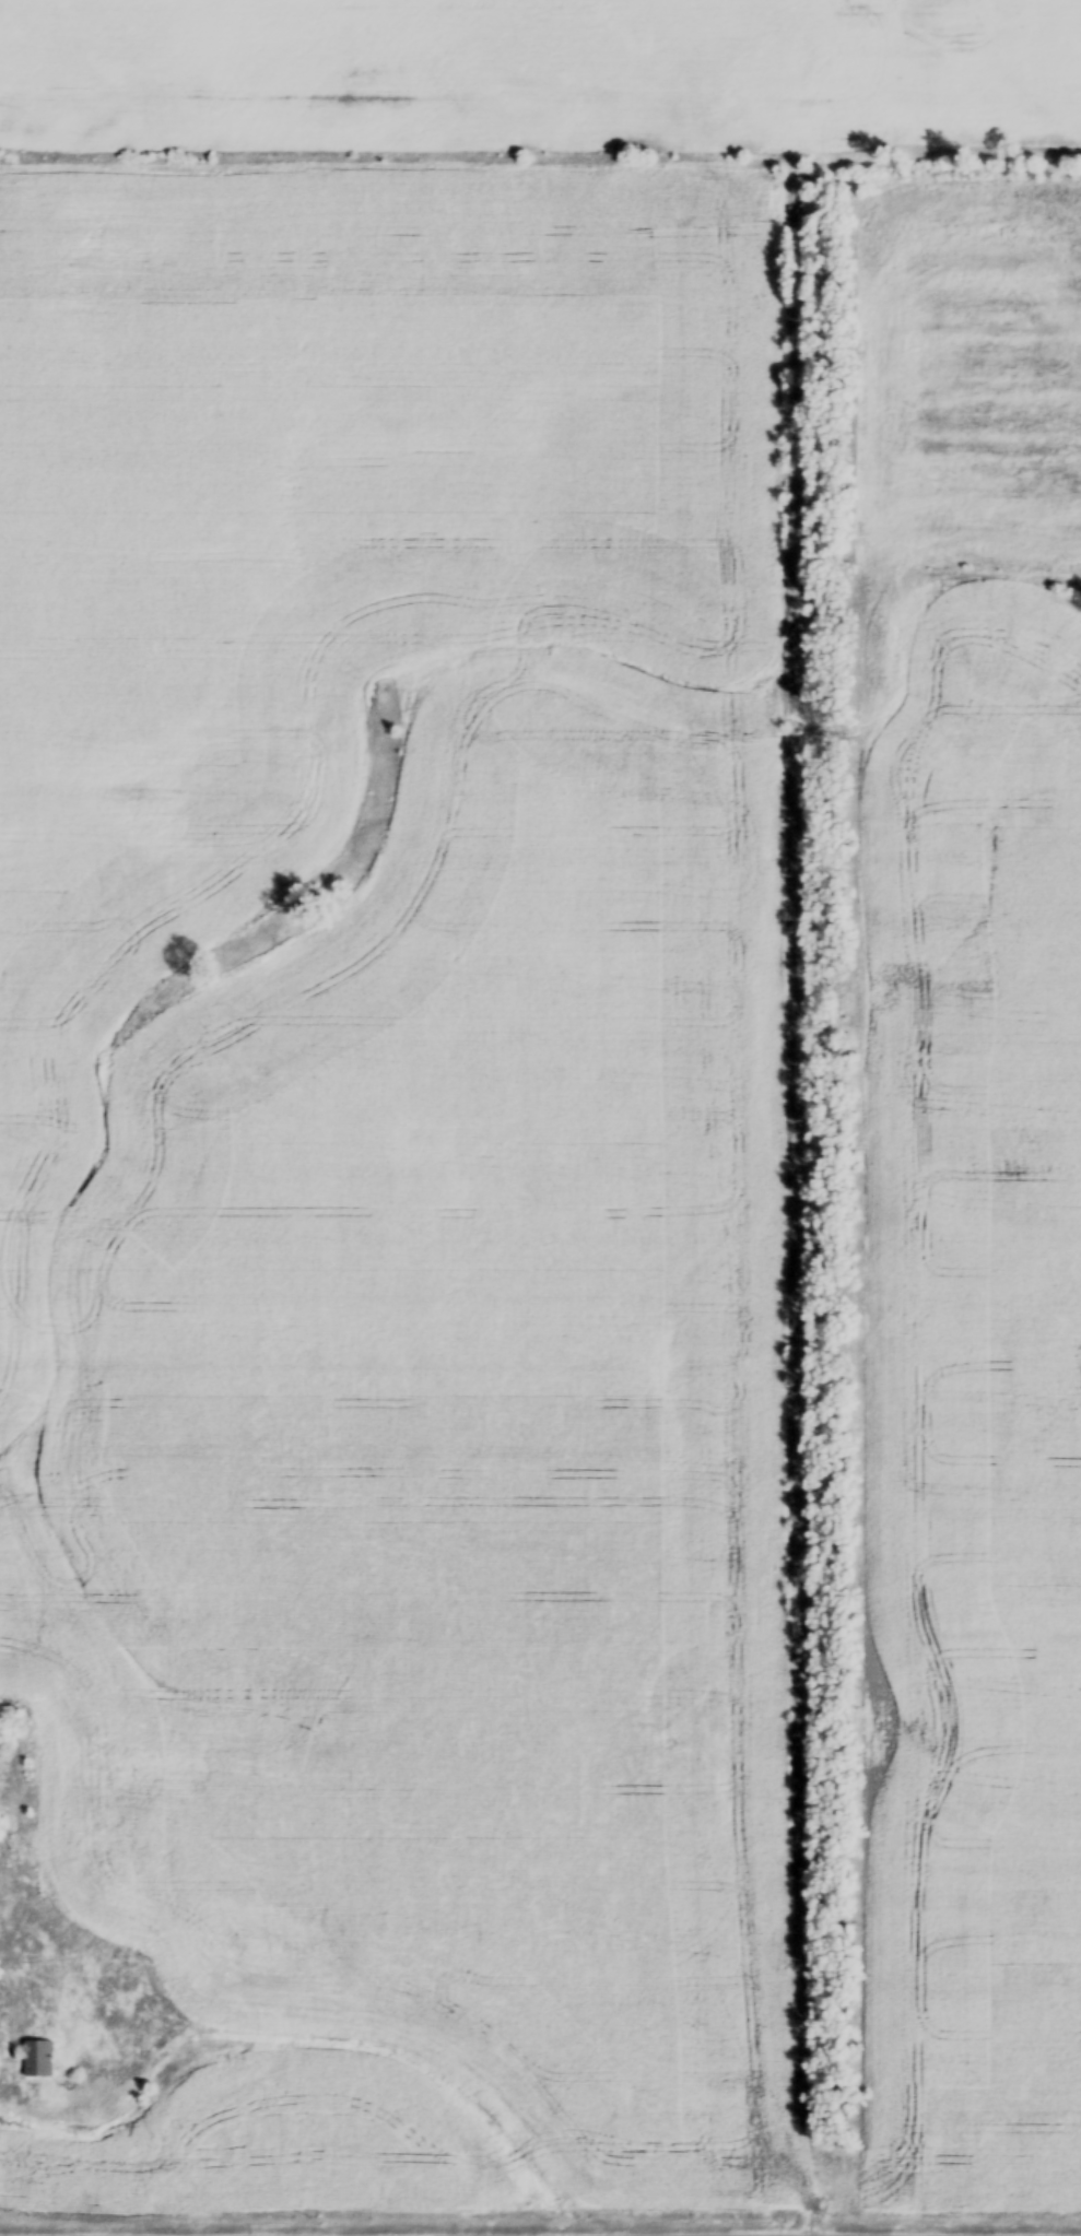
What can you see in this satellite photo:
building: (38, 2059)

